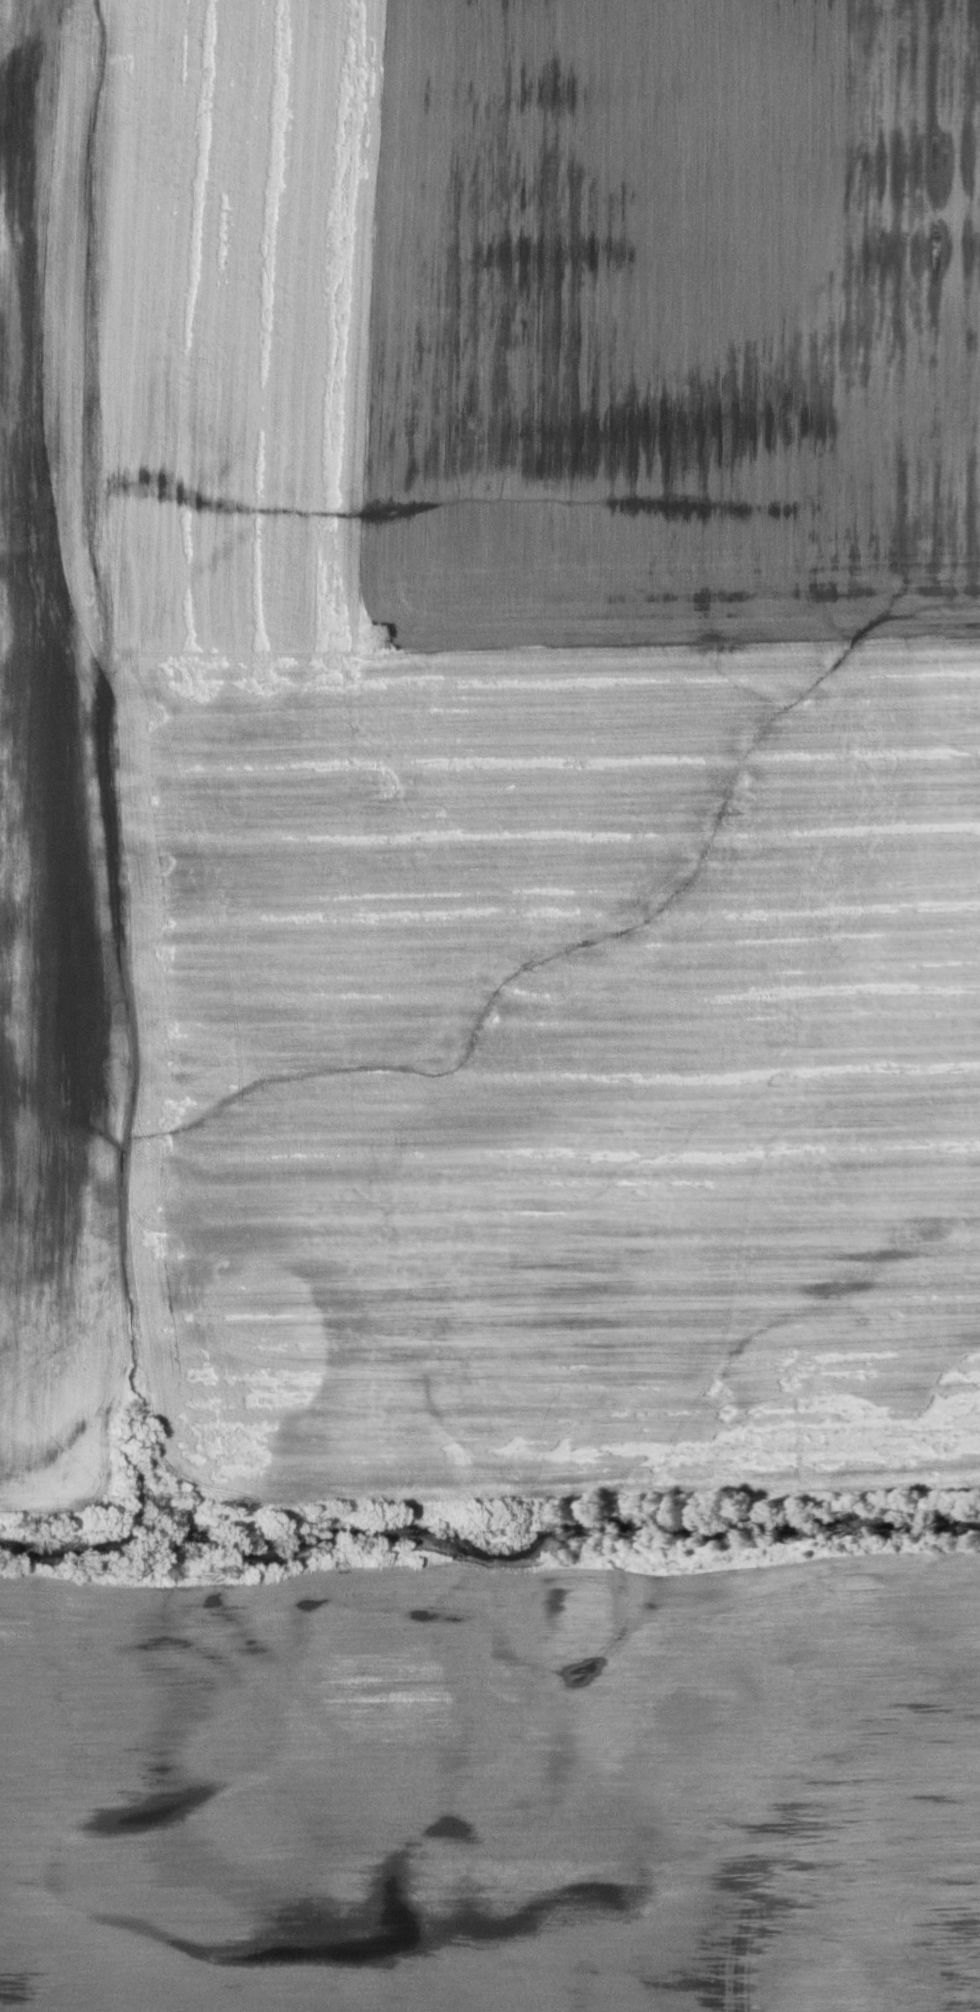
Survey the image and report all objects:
crop: (494, 1789)

